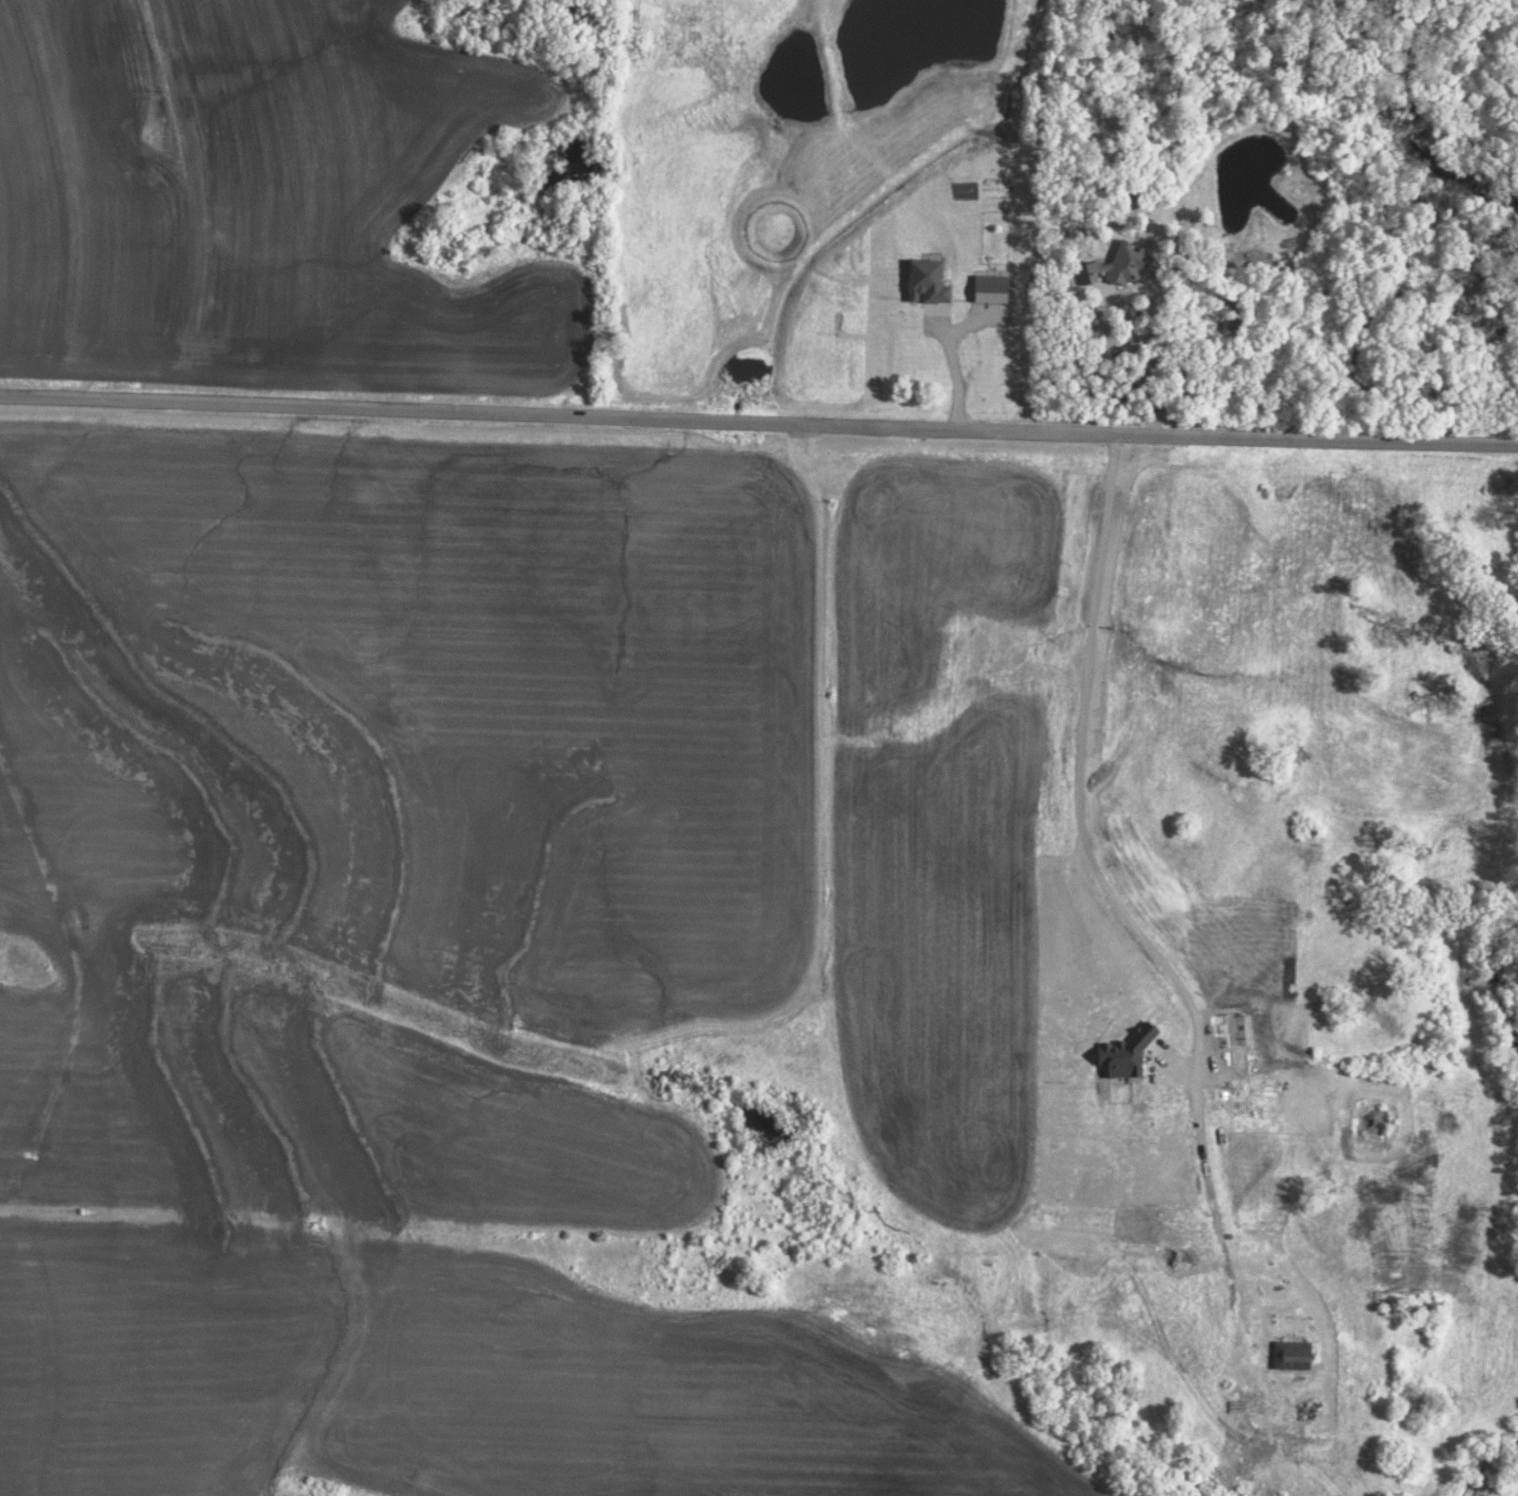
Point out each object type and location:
building: (1118, 263)
building: (977, 289)
building: (931, 359)
road: (1141, 362)
road: (955, 368)
road: (759, 425)
road: (1078, 780)
building: (1292, 1354)

